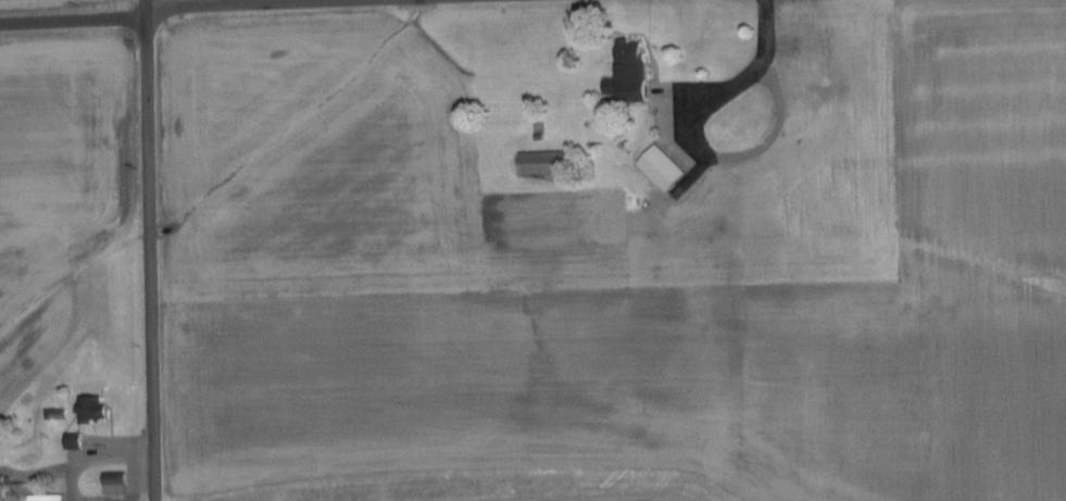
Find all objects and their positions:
road: (206, 9)
road: (729, 63)
building: (627, 73)
building: (540, 162)
building: (660, 167)
road: (152, 250)
building: (90, 409)
building: (112, 484)

